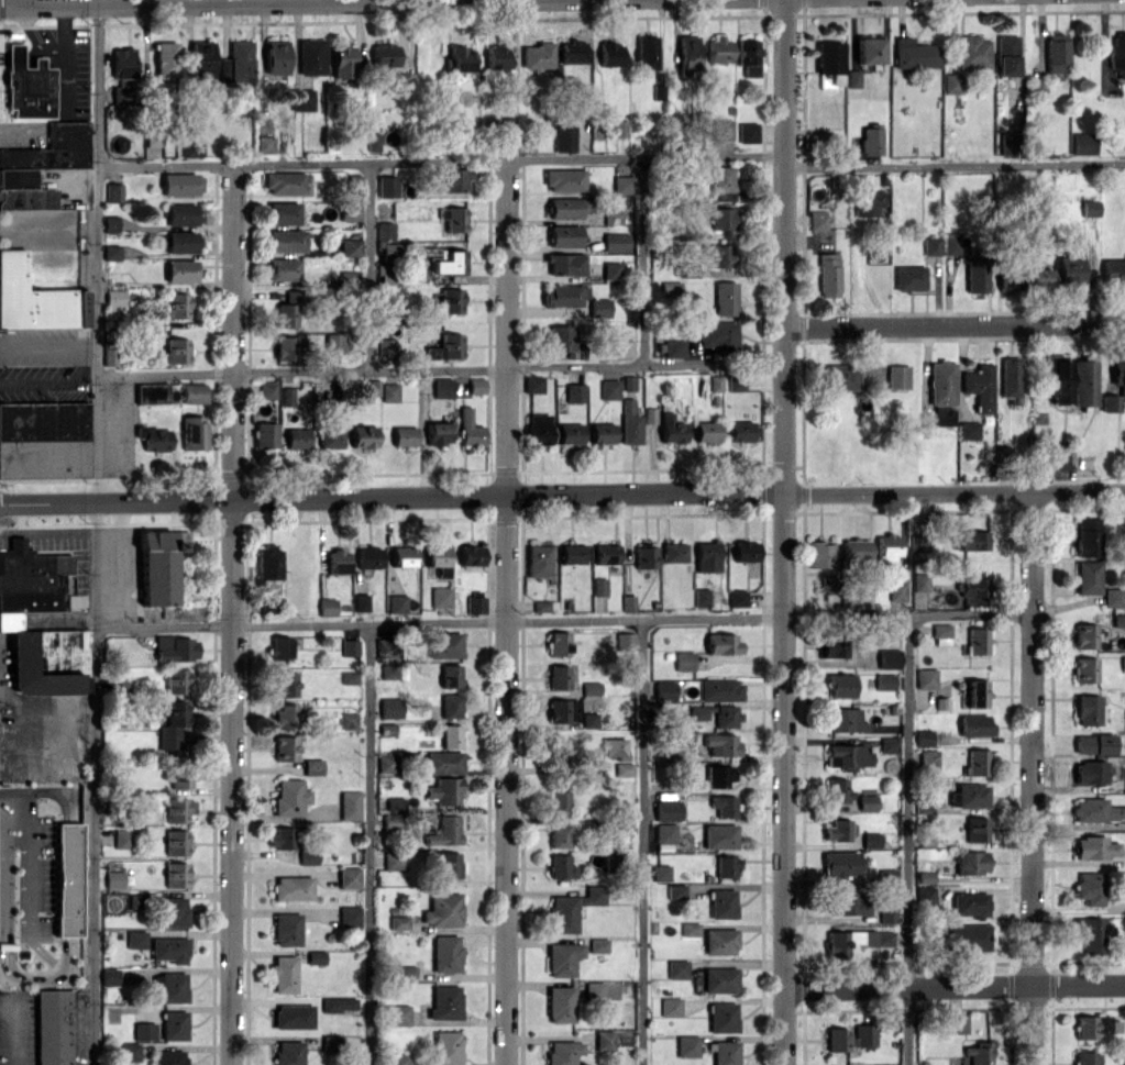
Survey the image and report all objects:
road: (220, 2)
road: (29, 29)
building: (718, 47)
building: (868, 49)
building: (572, 51)
building: (972, 51)
road: (31, 52)
building: (646, 52)
building: (687, 52)
building: (1056, 53)
building: (1117, 53)
building: (385, 54)
building: (609, 54)
building: (914, 54)
building: (537, 55)
building: (1006, 55)
building: (311, 56)
building: (497, 56)
building: (748, 56)
road: (64, 57)
building: (276, 57)
building: (201, 58)
building: (460, 58)
building: (166, 59)
building: (240, 60)
building: (122, 62)
building: (342, 62)
building: (829, 64)
building: (223, 69)
building: (852, 78)
building: (951, 82)
building: (27, 85)
building: (301, 99)
building: (620, 127)
building: (723, 129)
building: (747, 132)
building: (155, 134)
building: (563, 137)
building: (870, 138)
building: (373, 141)
building: (1006, 143)
building: (1083, 143)
building: (265, 144)
building: (191, 147)
building: (53, 148)
road: (440, 160)
road: (953, 165)
building: (449, 179)
building: (564, 179)
building: (284, 182)
building: (720, 182)
building: (180, 184)
building: (354, 184)
building: (622, 185)
building: (386, 186)
building: (23, 190)
building: (113, 192)
building: (869, 201)
building: (567, 207)
building: (350, 211)
building: (283, 212)
building: (180, 213)
building: (611, 217)
building: (720, 217)
building: (452, 218)
building: (817, 219)
building: (110, 223)
building: (385, 231)
building: (181, 241)
building: (286, 241)
building: (615, 242)
building: (950, 243)
building: (930, 245)
building: (350, 246)
building: (111, 252)
building: (389, 252)
building: (717, 254)
road: (642, 260)
building: (450, 262)
building: (565, 264)
road: (368, 266)
building: (283, 268)
building: (610, 268)
building: (180, 269)
building: (1068, 270)
building: (1113, 273)
building: (828, 274)
building: (975, 275)
building: (909, 277)
building: (1007, 277)
building: (1038, 277)
building: (670, 287)
building: (564, 295)
building: (725, 298)
building: (36, 299)
building: (114, 299)
building: (446, 302)
building: (175, 306)
building: (599, 307)
building: (286, 314)
road: (953, 324)
building: (718, 335)
building: (564, 341)
building: (333, 342)
building: (285, 347)
building: (445, 347)
building: (624, 347)
building: (673, 347)
building: (386, 348)
building: (177, 350)
building: (109, 354)
road: (439, 367)
building: (841, 376)
building: (897, 376)
building: (1057, 377)
building: (1008, 378)
building: (941, 381)
building: (629, 382)
building: (1083, 382)
building: (533, 384)
building: (736, 384)
building: (1120, 384)
building: (476, 385)
building: (979, 386)
building: (442, 387)
building: (609, 388)
building: (267, 390)
building: (389, 391)
building: (152, 392)
building: (194, 392)
building: (574, 392)
building: (287, 396)
building: (650, 414)
building: (942, 414)
building: (470, 429)
building: (538, 429)
building: (630, 429)
building: (671, 429)
building: (969, 430)
building: (706, 431)
building: (740, 431)
building: (194, 432)
building: (602, 432)
building: (438, 433)
building: (265, 434)
building: (404, 435)
building: (363, 436)
building: (570, 436)
building: (153, 437)
building: (297, 437)
building: (330, 437)
building: (44, 439)
building: (1059, 457)
road: (953, 491)
road: (391, 497)
road: (96, 532)
road: (784, 532)
building: (1088, 536)
building: (972, 540)
building: (886, 548)
building: (854, 550)
building: (745, 551)
building: (674, 552)
building: (572, 553)
building: (606, 553)
building: (820, 554)
building: (471, 555)
building: (707, 555)
building: (368, 556)
building: (402, 556)
building: (646, 556)
building: (438, 558)
building: (538, 559)
building: (337, 561)
building: (268, 562)
building: (157, 566)
building: (1088, 576)
building: (31, 577)
building: (919, 581)
building: (828, 584)
building: (598, 586)
building: (974, 586)
building: (896, 590)
building: (440, 597)
building: (702, 597)
building: (1113, 597)
building: (737, 598)
building: (853, 599)
building: (396, 603)
building: (475, 603)
building: (327, 607)
road: (505, 612)
road: (231, 614)
building: (1118, 620)
road: (564, 621)
building: (1084, 635)
building: (625, 641)
building: (977, 641)
building: (559, 642)
building: (721, 643)
building: (444, 644)
building: (350, 646)
building: (386, 646)
building: (832, 646)
building: (278, 647)
building: (175, 648)
building: (46, 658)
building: (889, 658)
building: (683, 661)
building: (1123, 663)
building: (1084, 669)
building: (389, 670)
building: (450, 676)
building: (349, 677)
building: (558, 677)
building: (925, 677)
building: (176, 680)
building: (884, 681)
building: (285, 684)
building: (840, 685)
building: (591, 688)
building: (718, 689)
building: (662, 690)
building: (977, 692)
building: (450, 705)
building: (390, 707)
building: (1087, 709)
building: (563, 711)
building: (698, 712)
building: (285, 715)
building: (726, 715)
building: (589, 719)
building: (348, 720)
building: (846, 720)
building: (1124, 722)
building: (172, 723)
building: (974, 724)
building: (450, 735)
building: (923, 736)
building: (1093, 743)
building: (721, 744)
building: (889, 744)
building: (285, 747)
building: (615, 747)
building: (847, 756)
building: (928, 758)
building: (442, 762)
building: (386, 763)
building: (975, 763)
building: (312, 766)
building: (624, 769)
building: (1090, 772)
building: (718, 775)
road: (1033, 777)
building: (180, 778)
building: (1124, 781)
building: (837, 789)
building: (444, 790)
building: (969, 795)
building: (289, 797)
building: (558, 801)
building: (867, 801)
building: (395, 802)
building: (349, 805)
building: (723, 805)
building: (177, 809)
building: (666, 810)
building: (1096, 810)
building: (390, 821)
building: (839, 829)
building: (975, 829)
building: (444, 831)
building: (664, 832)
building: (559, 835)
building: (719, 835)
building: (283, 836)
building: (121, 837)
building: (871, 840)
road: (907, 840)
building: (175, 842)
road: (641, 842)
road: (367, 844)
building: (1094, 846)
road: (24, 853)
building: (308, 857)
building: (394, 861)
building: (971, 862)
building: (840, 863)
building: (448, 865)
building: (726, 865)
building: (561, 866)
building: (660, 872)
building: (175, 874)
building: (886, 876)
building: (925, 876)
building: (349, 877)
building: (113, 878)
building: (67, 879)
building: (1090, 887)
building: (291, 888)
building: (675, 891)
building: (925, 895)
building: (135, 901)
building: (848, 902)
building: (723, 903)
building: (970, 903)
building: (571, 908)
building: (442, 910)
building: (173, 911)
building: (886, 913)
building: (349, 917)
building: (398, 922)
building: (286, 929)
building: (690, 929)
building: (1091, 933)
building: (969, 936)
building: (135, 939)
building: (719, 941)
building: (854, 941)
building: (597, 944)
building: (168, 948)
building: (445, 953)
building: (316, 956)
building: (562, 958)
building: (676, 968)
building: (405, 973)
building: (283, 974)
building: (121, 976)
building: (719, 979)
building: (170, 986)
road: (956, 986)
building: (594, 990)
building: (444, 1001)
building: (338, 1003)
building: (560, 1003)
building: (670, 1006)
building: (397, 1014)
building: (293, 1016)
building: (723, 1017)
building: (957, 1022)
building: (173, 1024)
building: (1094, 1025)
building: (52, 1027)
building: (143, 1031)
building: (850, 1038)
building: (604, 1039)
building: (329, 1042)
building: (686, 1045)
building: (445, 1046)
building: (128, 1051)
building: (288, 1052)
building: (563, 1052)
building: (725, 1052)
building: (979, 1053)
building: (168, 1057)
building: (400, 1058)
building: (1084, 1058)
building: (890, 1064)

